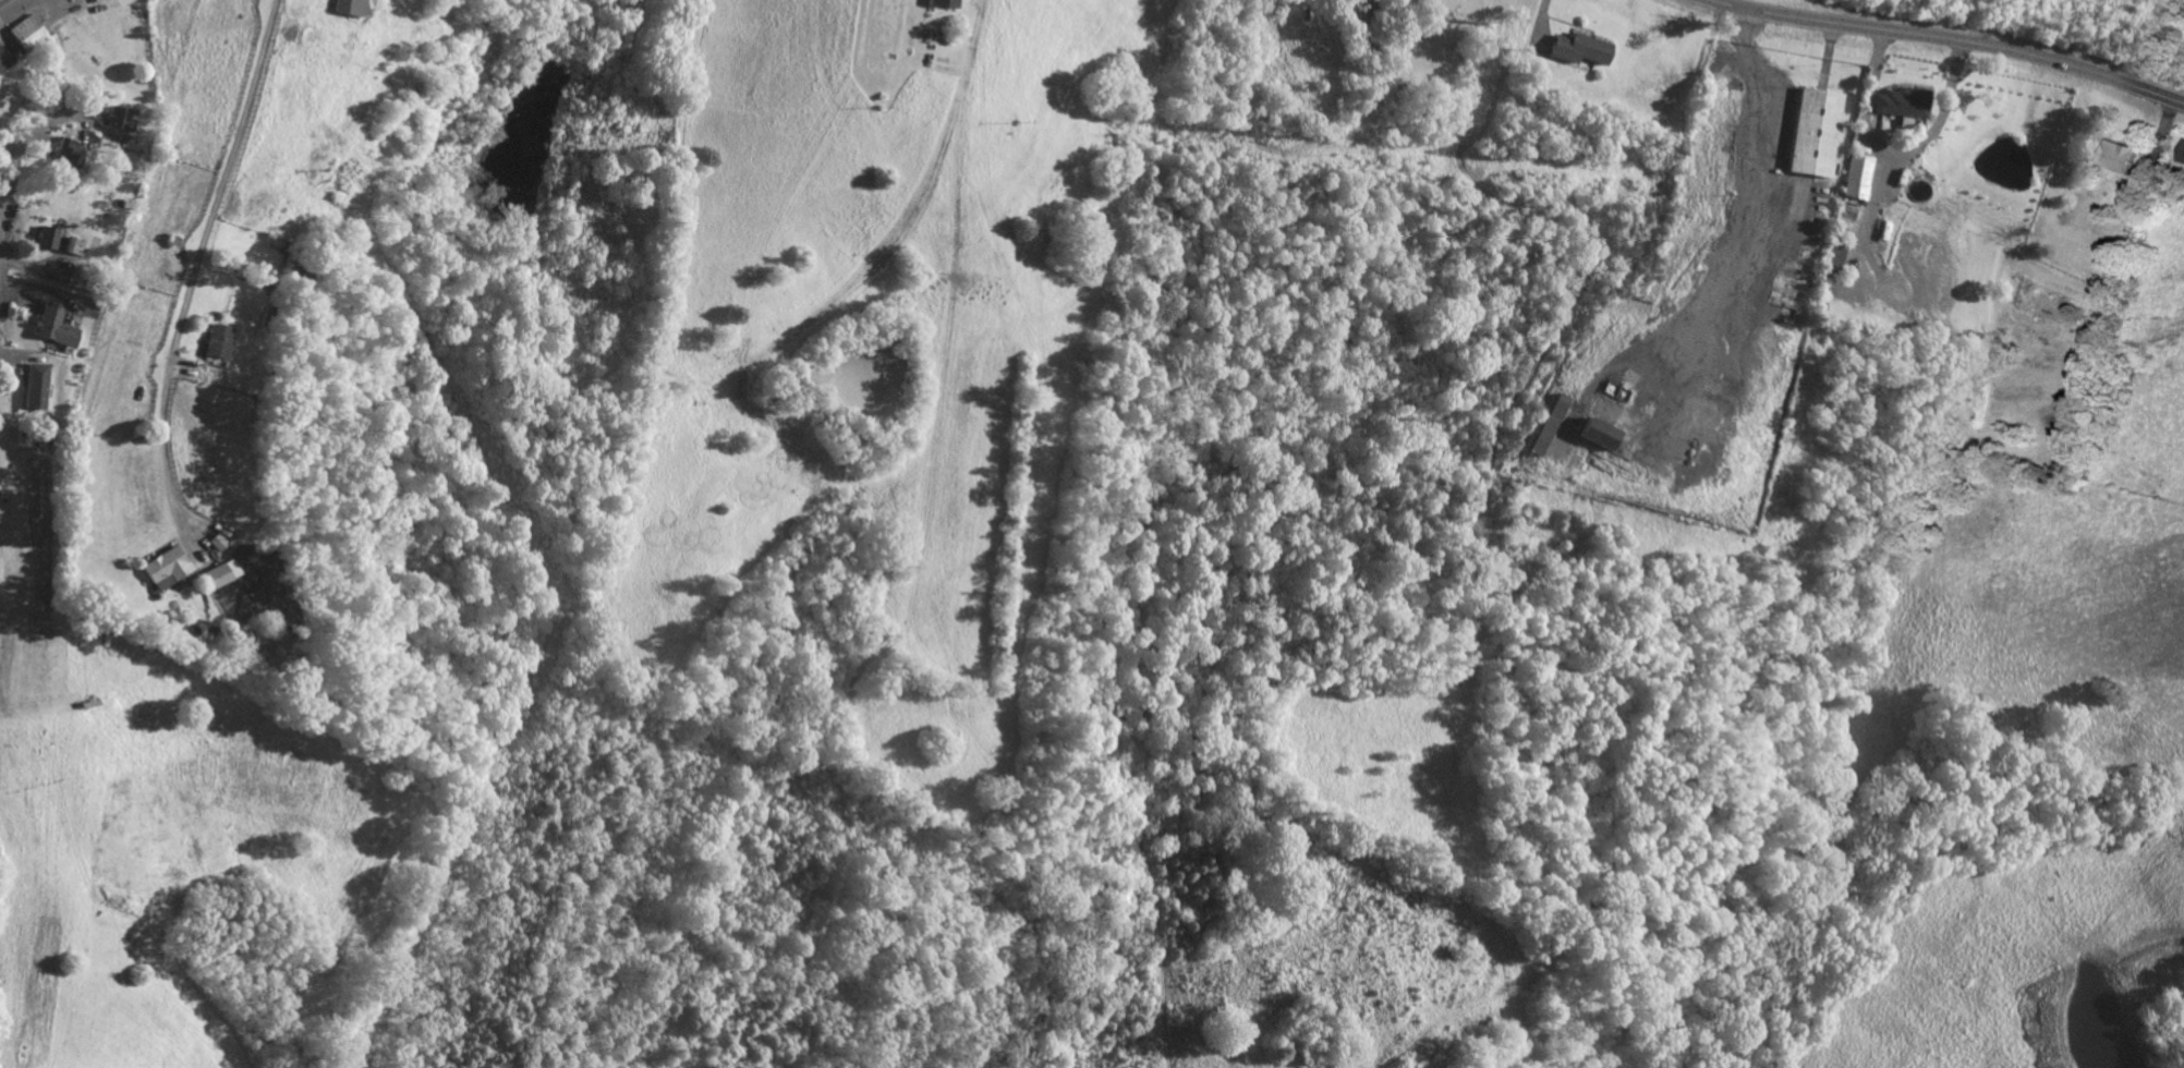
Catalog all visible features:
road: (1, 0)
building: (943, 4)
building: (350, 8)
building: (33, 38)
road: (1954, 39)
building: (1577, 50)
building: (3, 61)
building: (1901, 105)
building: (119, 120)
building: (1813, 134)
building: (2119, 157)
building: (2182, 158)
building: (64, 160)
building: (1857, 179)
road: (11, 195)
building: (48, 240)
building: (1834, 258)
road: (196, 262)
building: (56, 329)
building: (217, 343)
building: (36, 388)
building: (1550, 427)
building: (1598, 436)
building: (165, 570)
building: (219, 577)

